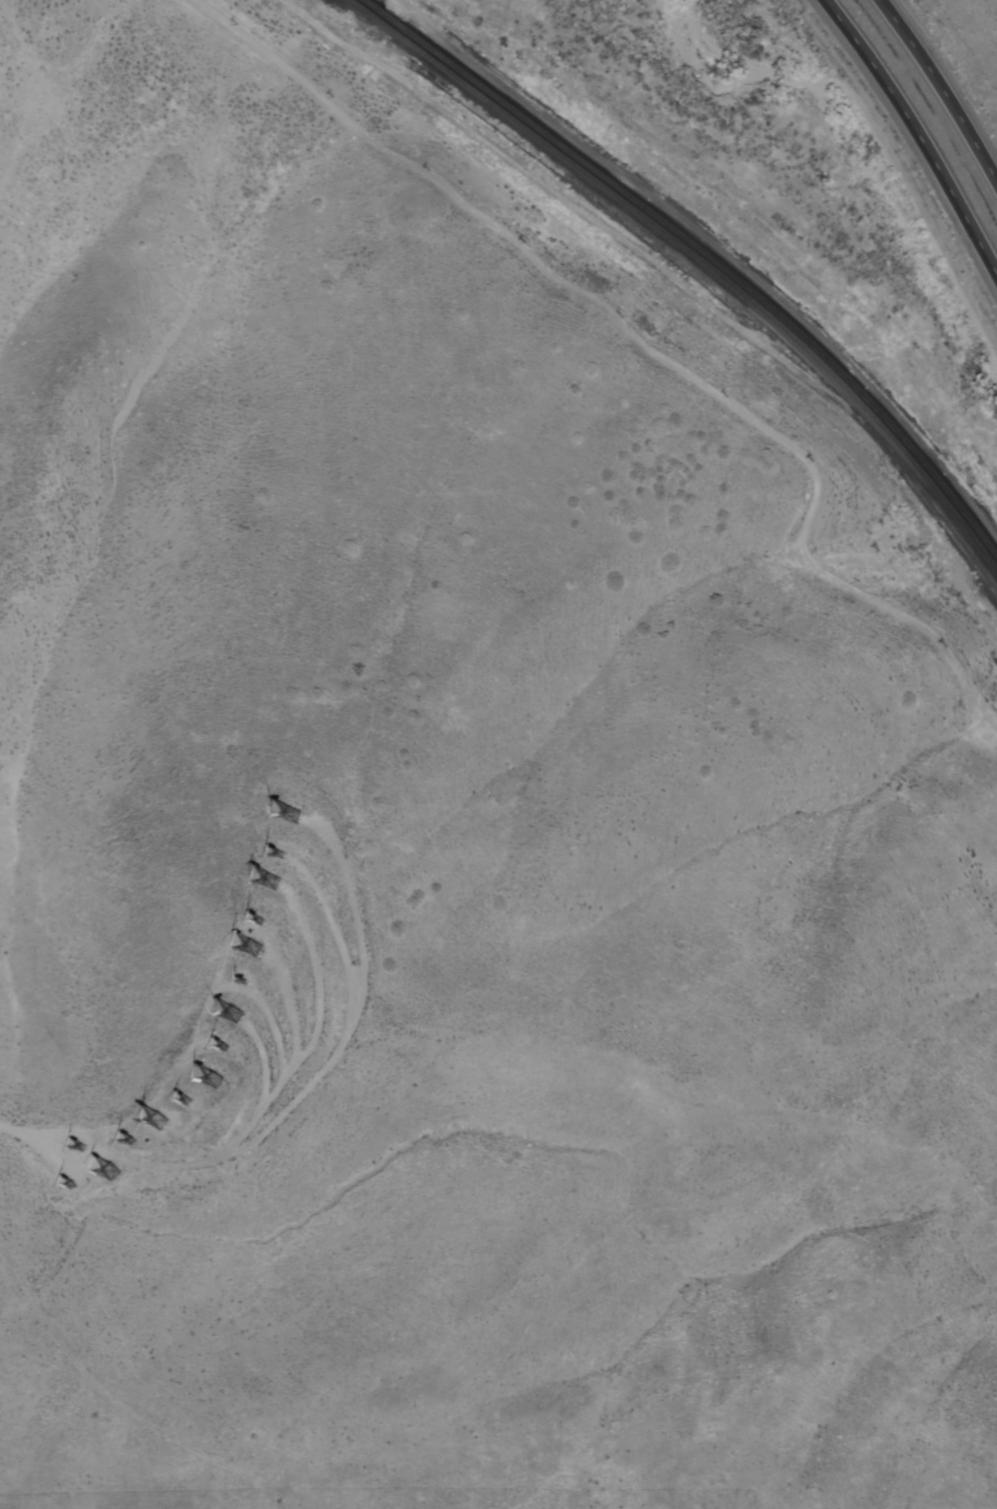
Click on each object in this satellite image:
railway: (372, 6)
railway: (361, 10)
railway: (389, 20)
railway: (384, 27)
road: (550, 32)
road: (941, 89)
road: (917, 133)
railway: (720, 267)
railway: (718, 278)
wind turbine: (290, 816)
wind turbine: (274, 856)
wind turbine: (267, 882)
wind turbine: (256, 920)
wind turbine: (252, 947)
wind turbine: (245, 983)
wind turbine: (235, 1017)
wind turbine: (226, 1049)
wind turbine: (215, 1080)
wind turbine: (184, 1101)
road: (290, 1107)
wind turbine: (159, 1121)
wind turbine: (127, 1141)
wind turbine: (83, 1146)
wind turbine: (114, 1170)
wind turbine: (74, 1186)

